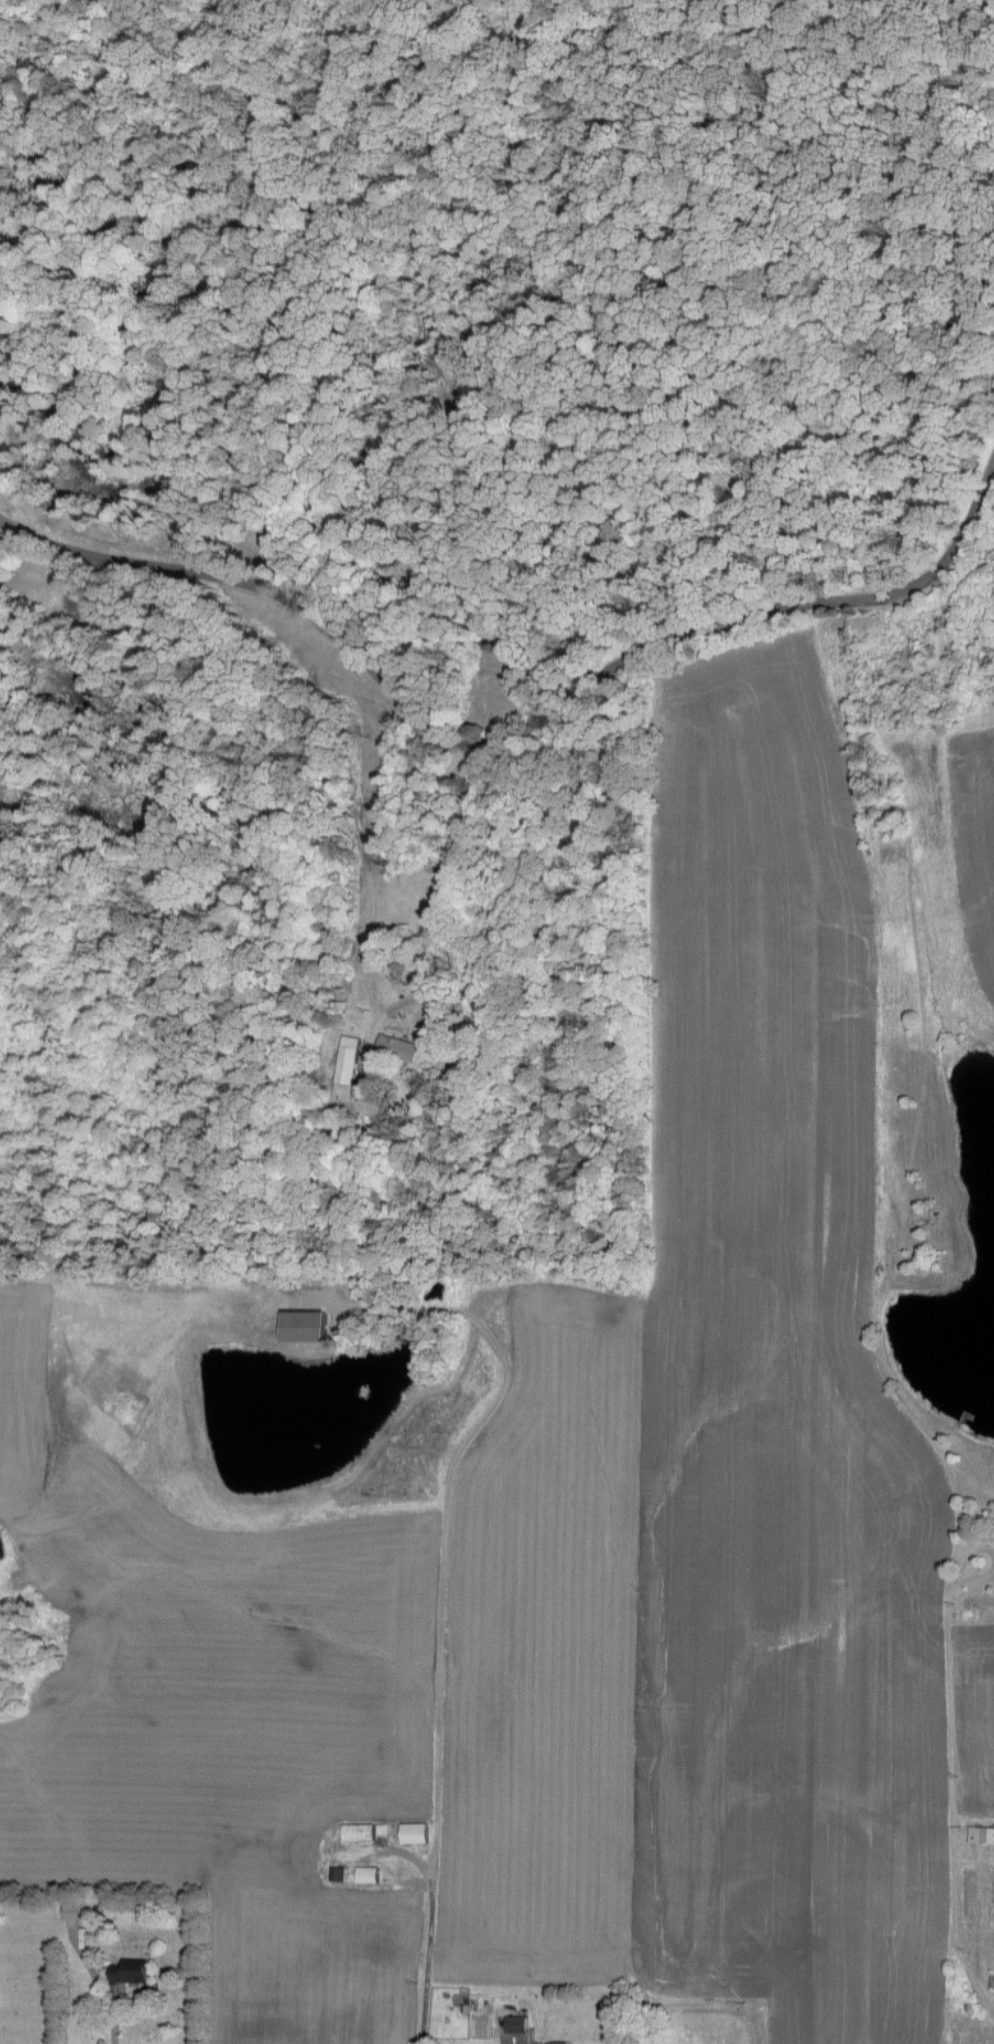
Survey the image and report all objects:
building: (958, 304)
road: (513, 732)
road: (453, 870)
building: (397, 1048)
building: (346, 1066)
road: (446, 1531)
road: (969, 1559)
road: (974, 1580)
building: (103, 1685)
road: (953, 1803)
building: (357, 1831)
building: (413, 1832)
building: (981, 1834)
building: (248, 1871)
building: (366, 1874)
road: (428, 1895)
building: (76, 1910)
building: (128, 1970)
building: (515, 2024)
road: (112, 2029)

